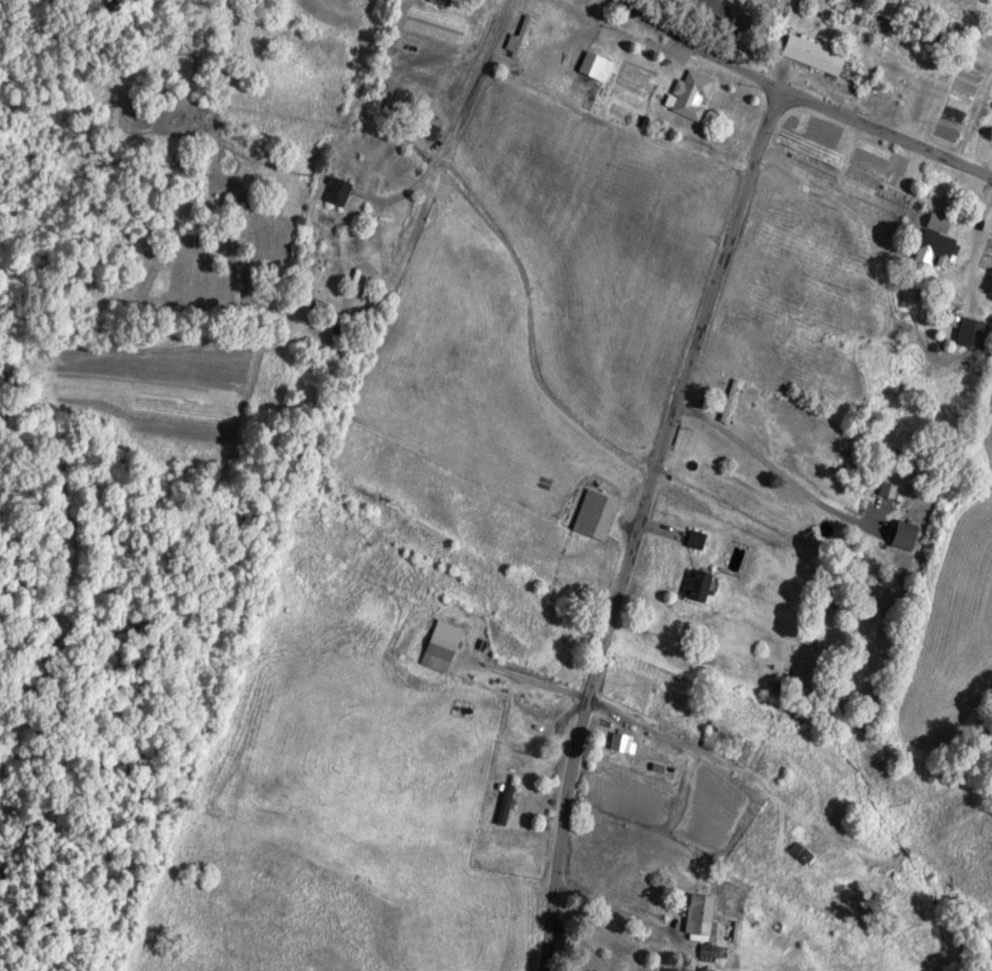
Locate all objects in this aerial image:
building: (433, 0)
road: (696, 45)
building: (811, 54)
road: (191, 88)
building: (688, 94)
building: (424, 129)
road: (884, 130)
building: (333, 191)
building: (933, 245)
building: (972, 334)
building: (727, 402)
building: (888, 490)
building: (591, 515)
road: (639, 523)
building: (901, 535)
building: (693, 540)
building: (693, 585)
building: (438, 646)
building: (503, 804)
building: (696, 915)
building: (671, 970)

